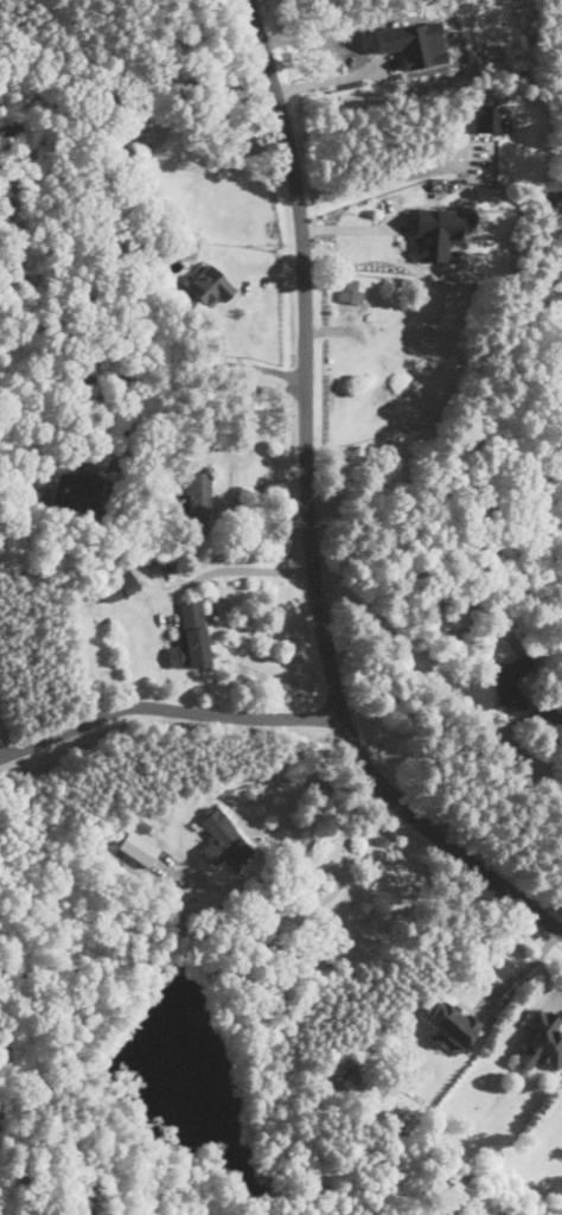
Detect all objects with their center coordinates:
road: (249, 0)
building: (416, 43)
road: (330, 79)
road: (193, 85)
building: (491, 116)
road: (382, 179)
building: (440, 230)
building: (209, 287)
building: (351, 294)
road: (153, 373)
road: (121, 430)
building: (75, 490)
building: (199, 496)
road: (307, 511)
road: (237, 570)
building: (126, 579)
building: (113, 593)
building: (191, 637)
road: (167, 707)
building: (141, 823)
building: (224, 839)
building: (139, 847)
road: (267, 877)
road: (519, 972)
building: (451, 1024)
building: (543, 1039)

